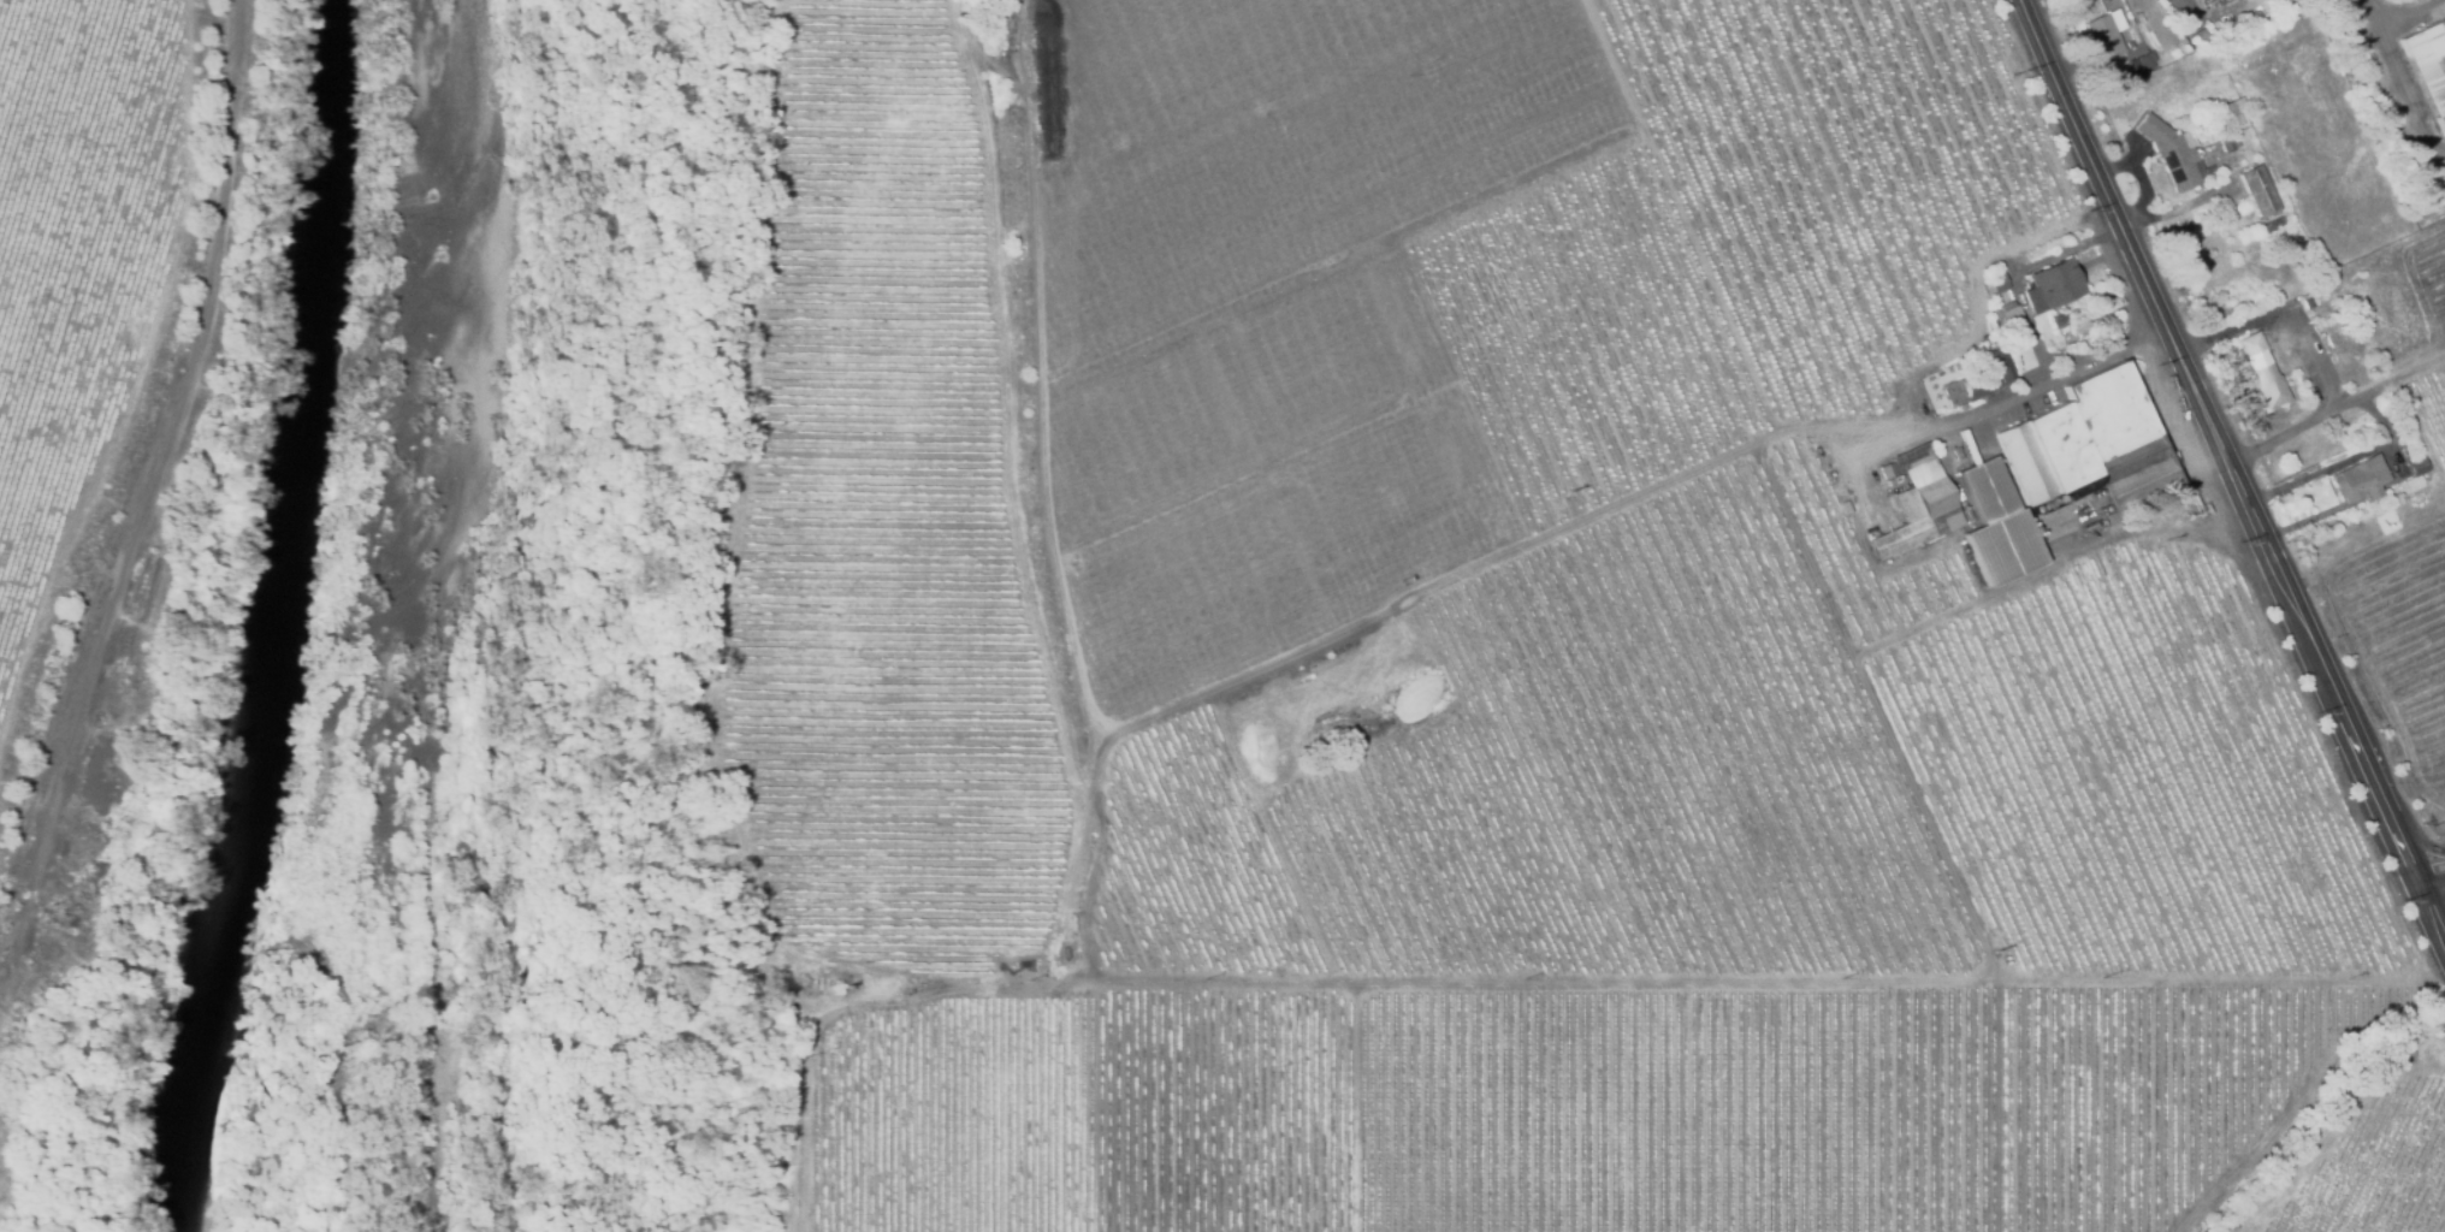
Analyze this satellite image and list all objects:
building: (2221, 0)
building: (2230, 1)
road: (2373, 12)
road: (2405, 12)
building: (2138, 19)
building: (2248, 22)
building: (2106, 37)
building: (2198, 40)
building: (2130, 45)
building: (2362, 61)
building: (2142, 64)
building: (2428, 67)
road: (2405, 93)
building: (2232, 108)
building: (2232, 144)
building: (2172, 153)
building: (2209, 170)
building: (2429, 174)
building: (2257, 192)
building: (2271, 227)
building: (1995, 284)
building: (2052, 286)
building: (2307, 303)
building: (2322, 315)
building: (2006, 318)
building: (2059, 321)
building: (2080, 328)
building: (2350, 343)
building: (2000, 363)
building: (2261, 371)
building: (1977, 381)
building: (1949, 405)
road: (2337, 407)
road: (1967, 417)
building: (2088, 446)
road: (2232, 467)
building: (1884, 472)
building: (2415, 474)
building: (2358, 480)
building: (2014, 492)
building: (1916, 507)
building: (1842, 508)
road: (1587, 516)
building: (1995, 527)
road: (140, 565)
road: (2047, 565)
river: (233, 616)
river: (268, 616)
river: (303, 616)
road: (2429, 869)
road: (1660, 983)

